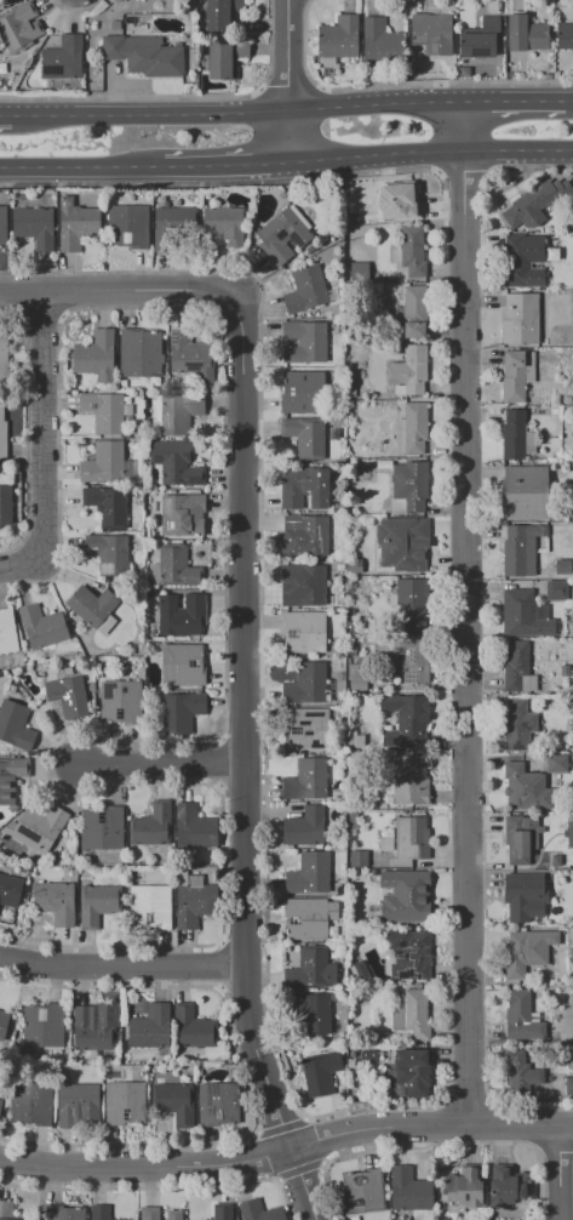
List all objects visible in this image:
building: (224, 15)
building: (19, 27)
building: (431, 33)
building: (526, 34)
building: (562, 36)
building: (480, 39)
building: (338, 40)
building: (382, 44)
building: (144, 55)
building: (62, 58)
building: (225, 58)
road: (287, 84)
road: (514, 101)
road: (569, 101)
road: (8, 116)
road: (240, 116)
road: (430, 156)
road: (224, 167)
road: (79, 169)
building: (399, 201)
building: (533, 204)
building: (351, 217)
building: (170, 223)
building: (76, 224)
building: (4, 226)
building: (127, 226)
building: (35, 227)
building: (222, 227)
building: (282, 236)
building: (407, 249)
building: (521, 261)
building: (359, 270)
building: (310, 291)
road: (120, 295)
building: (413, 310)
building: (520, 319)
building: (304, 343)
building: (4, 352)
building: (139, 353)
building: (94, 355)
building: (190, 355)
building: (409, 371)
building: (516, 374)
building: (155, 382)
building: (122, 383)
building: (351, 390)
building: (303, 393)
building: (105, 411)
building: (176, 412)
building: (413, 429)
building: (138, 433)
building: (516, 435)
building: (2, 437)
building: (306, 437)
road: (45, 451)
building: (176, 463)
building: (107, 464)
building: (304, 486)
building: (408, 486)
building: (526, 492)
building: (5, 504)
building: (107, 504)
building: (183, 514)
building: (309, 532)
building: (403, 543)
building: (521, 549)
building: (108, 553)
building: (354, 565)
building: (174, 568)
building: (563, 568)
building: (303, 586)
building: (557, 591)
building: (413, 603)
building: (92, 608)
building: (182, 614)
road: (466, 614)
building: (525, 615)
building: (42, 627)
building: (350, 627)
building: (7, 631)
building: (572, 631)
building: (304, 632)
building: (406, 660)
building: (361, 663)
building: (182, 665)
building: (517, 668)
building: (565, 671)
building: (305, 684)
building: (69, 696)
building: (120, 702)
building: (182, 712)
building: (403, 720)
building: (15, 724)
building: (517, 725)
building: (308, 729)
road: (245, 763)
building: (557, 763)
road: (165, 770)
building: (11, 777)
building: (308, 780)
building: (409, 780)
building: (526, 787)
building: (353, 819)
building: (41, 825)
building: (151, 825)
building: (194, 826)
building: (102, 827)
building: (303, 827)
building: (571, 833)
building: (522, 837)
building: (412, 838)
building: (385, 840)
building: (359, 857)
building: (569, 859)
building: (309, 876)
building: (10, 890)
building: (405, 896)
building: (521, 896)
building: (55, 901)
building: (195, 902)
building: (97, 903)
building: (149, 906)
building: (308, 918)
building: (554, 923)
building: (526, 951)
building: (409, 954)
building: (311, 969)
road: (124, 970)
building: (544, 981)
building: (316, 1015)
building: (522, 1015)
building: (411, 1016)
building: (4, 1022)
building: (42, 1025)
building: (93, 1026)
building: (150, 1027)
building: (194, 1028)
building: (368, 1056)
building: (413, 1071)
building: (320, 1072)
building: (521, 1073)
building: (569, 1087)
building: (1, 1088)
building: (76, 1102)
building: (125, 1102)
building: (174, 1102)
building: (31, 1104)
building: (218, 1104)
road: (286, 1150)
road: (557, 1173)
building: (464, 1187)
building: (504, 1187)
building: (409, 1190)
building: (361, 1191)
building: (6, 1209)
building: (258, 1210)
building: (99, 1212)
building: (223, 1212)
building: (65, 1213)
building: (149, 1213)
building: (174, 1215)
building: (125, 1219)

